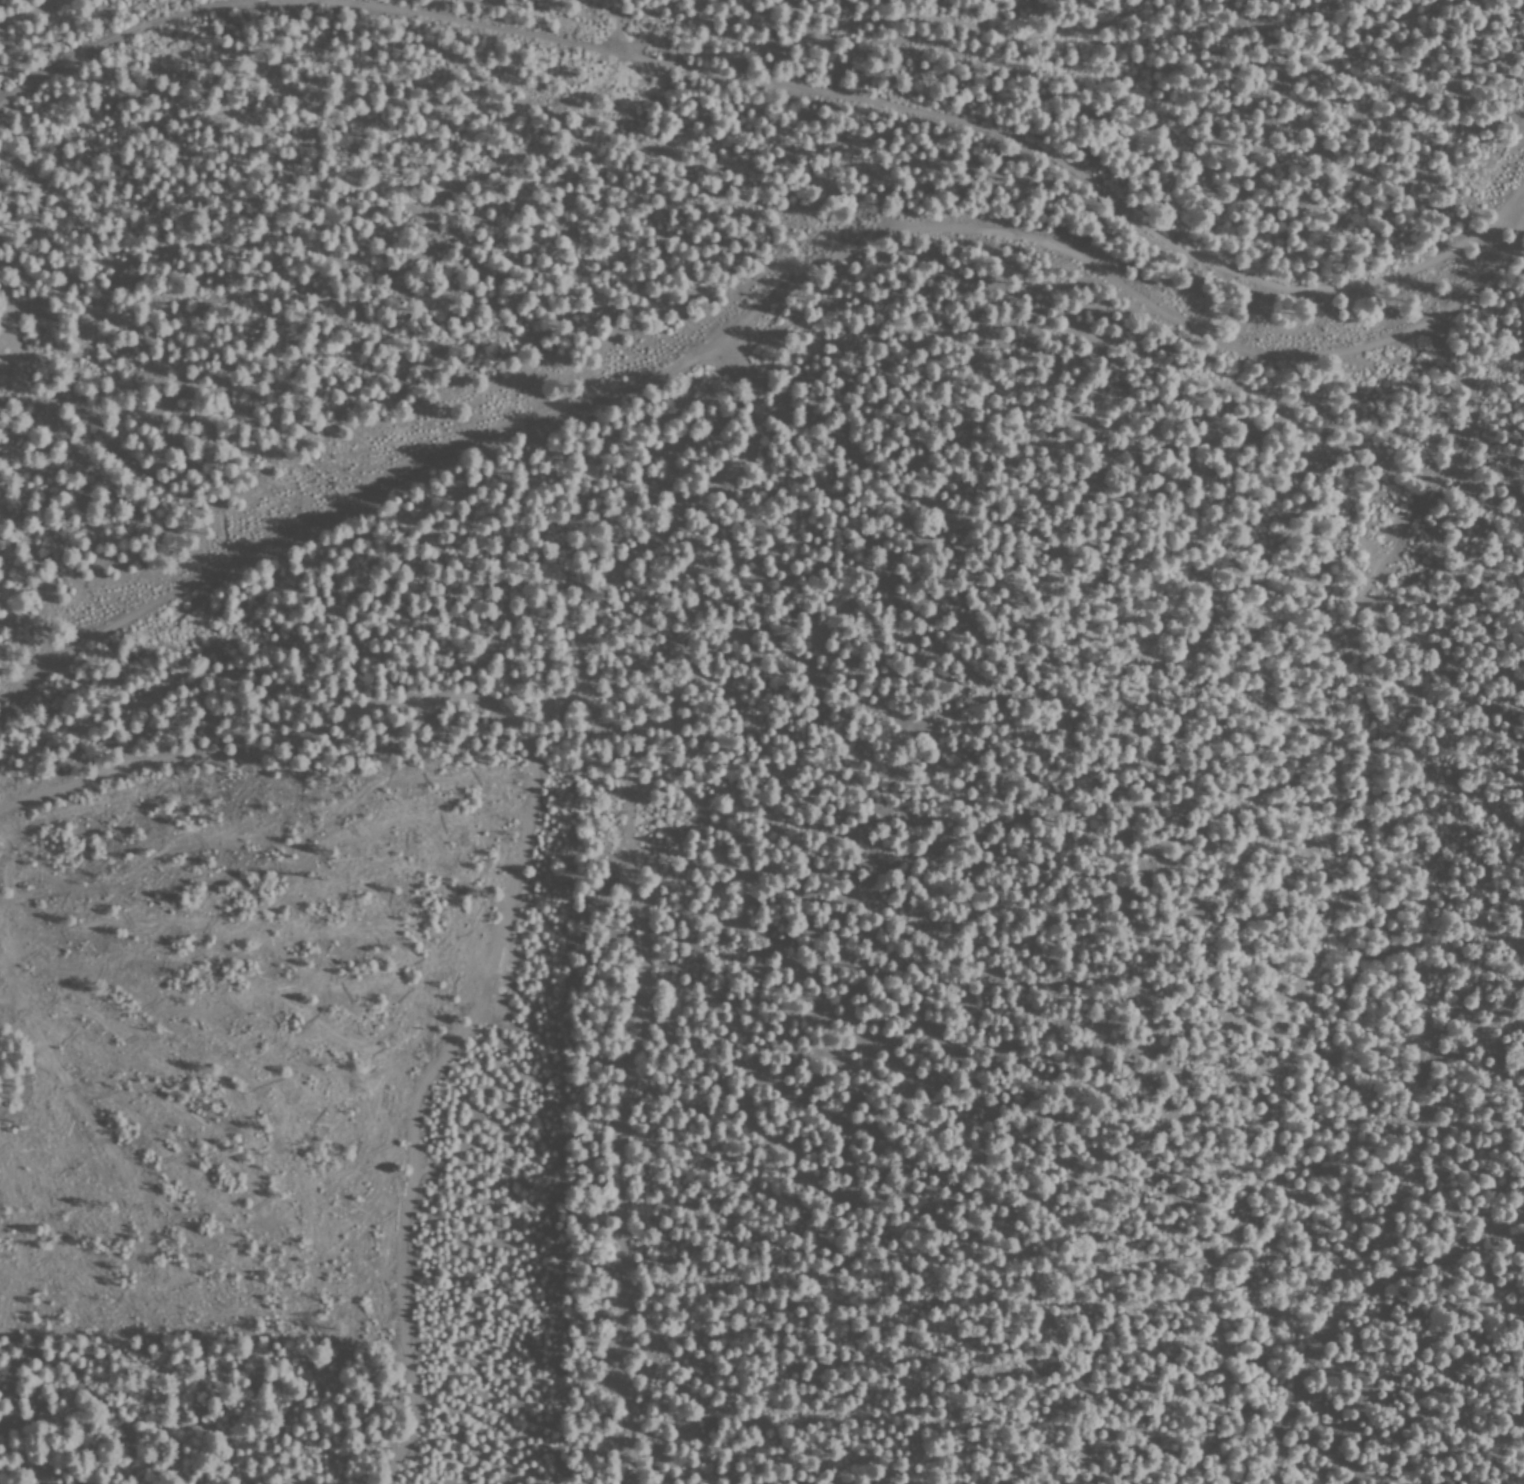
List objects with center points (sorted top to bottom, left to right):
road: (424, 7)
road: (14, 8)
road: (566, 40)
road: (755, 47)
road: (764, 304)
road: (10, 626)
road: (591, 658)
road: (324, 729)

